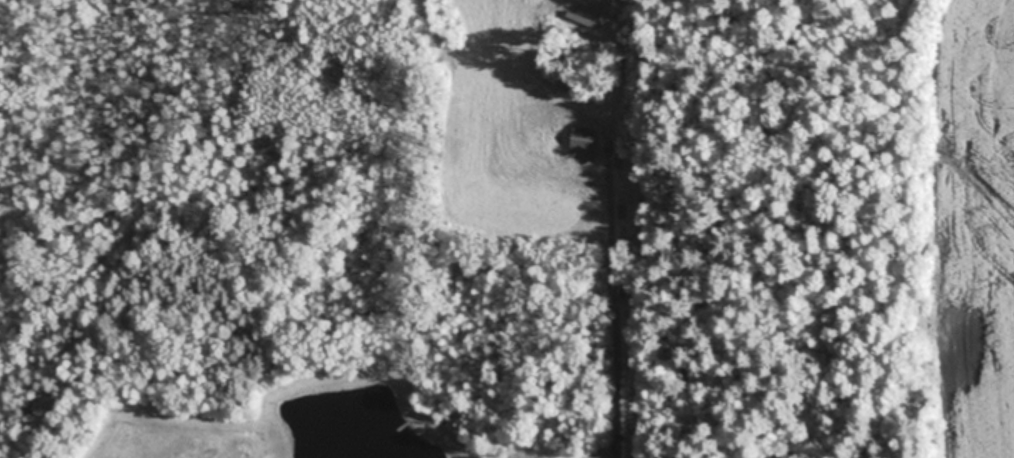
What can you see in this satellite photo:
building: (584, 20)
building: (585, 36)
building: (562, 79)
building: (584, 139)

